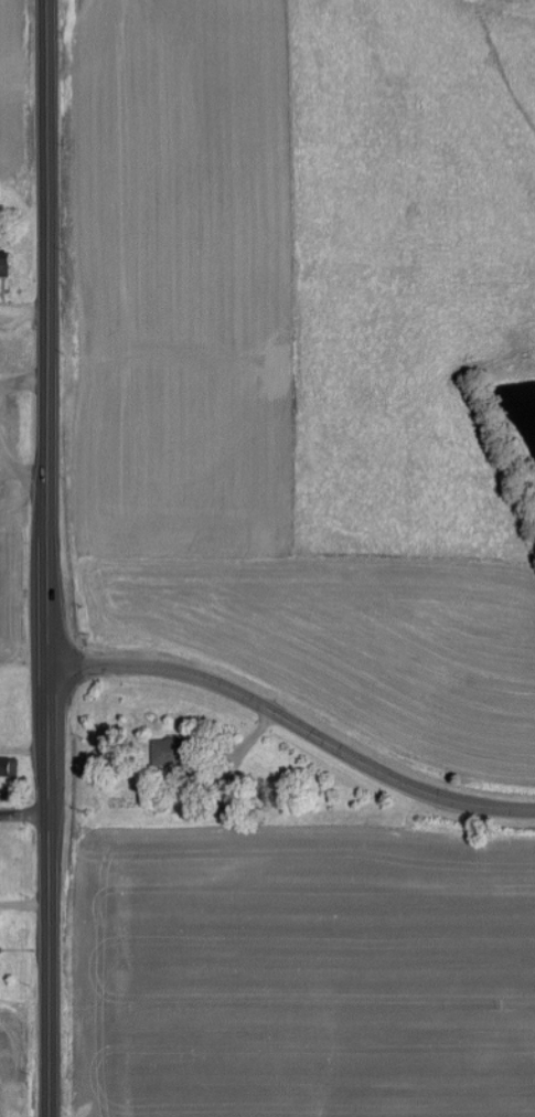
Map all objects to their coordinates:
building: (8, 258)
road: (23, 382)
road: (47, 558)
road: (293, 723)
building: (171, 751)
building: (9, 765)
road: (24, 812)
road: (23, 906)
building: (0, 954)

